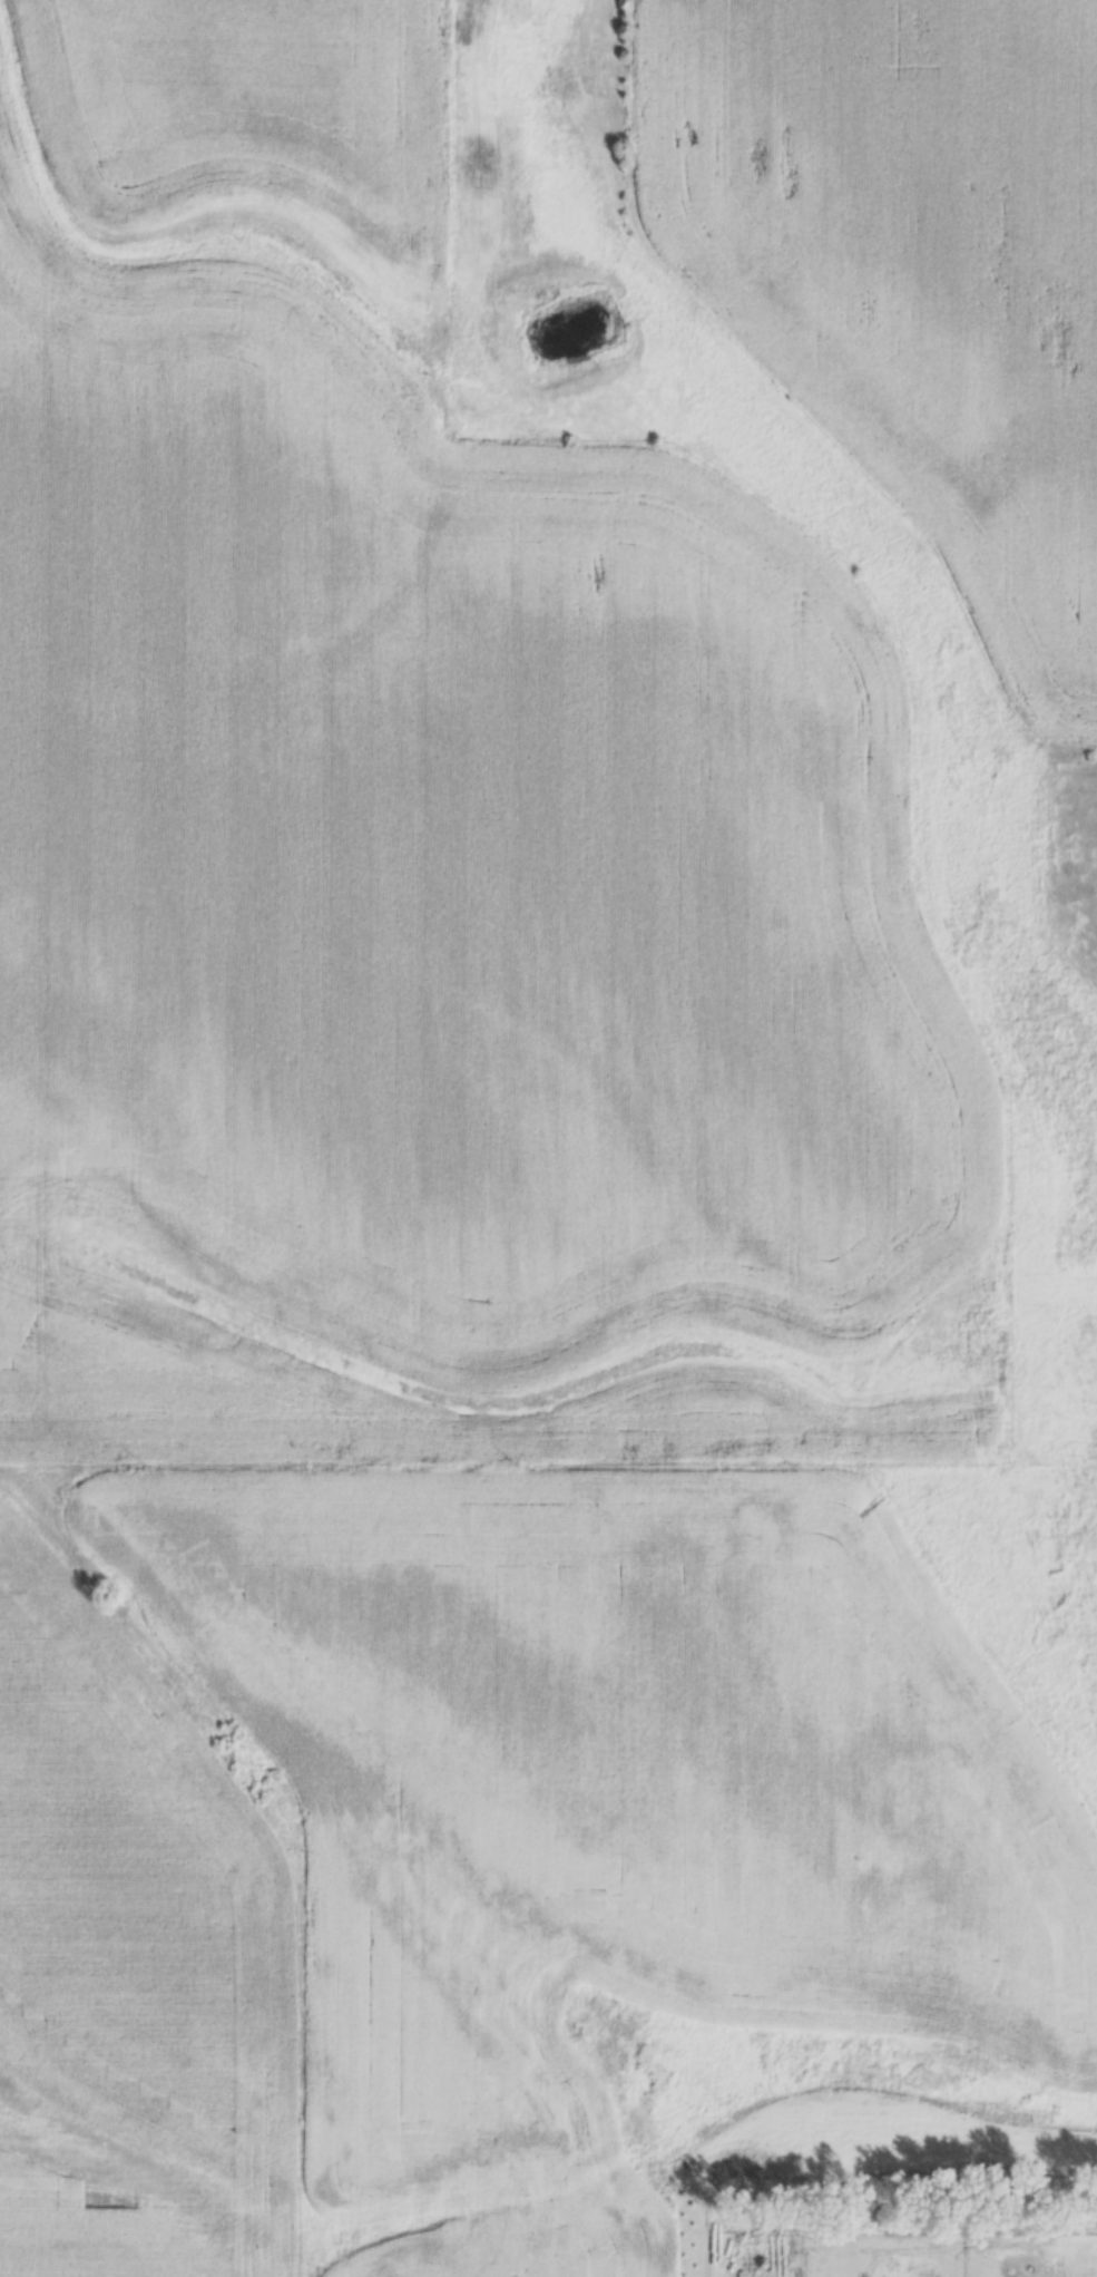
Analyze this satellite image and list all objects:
building: (1041, 2261)

